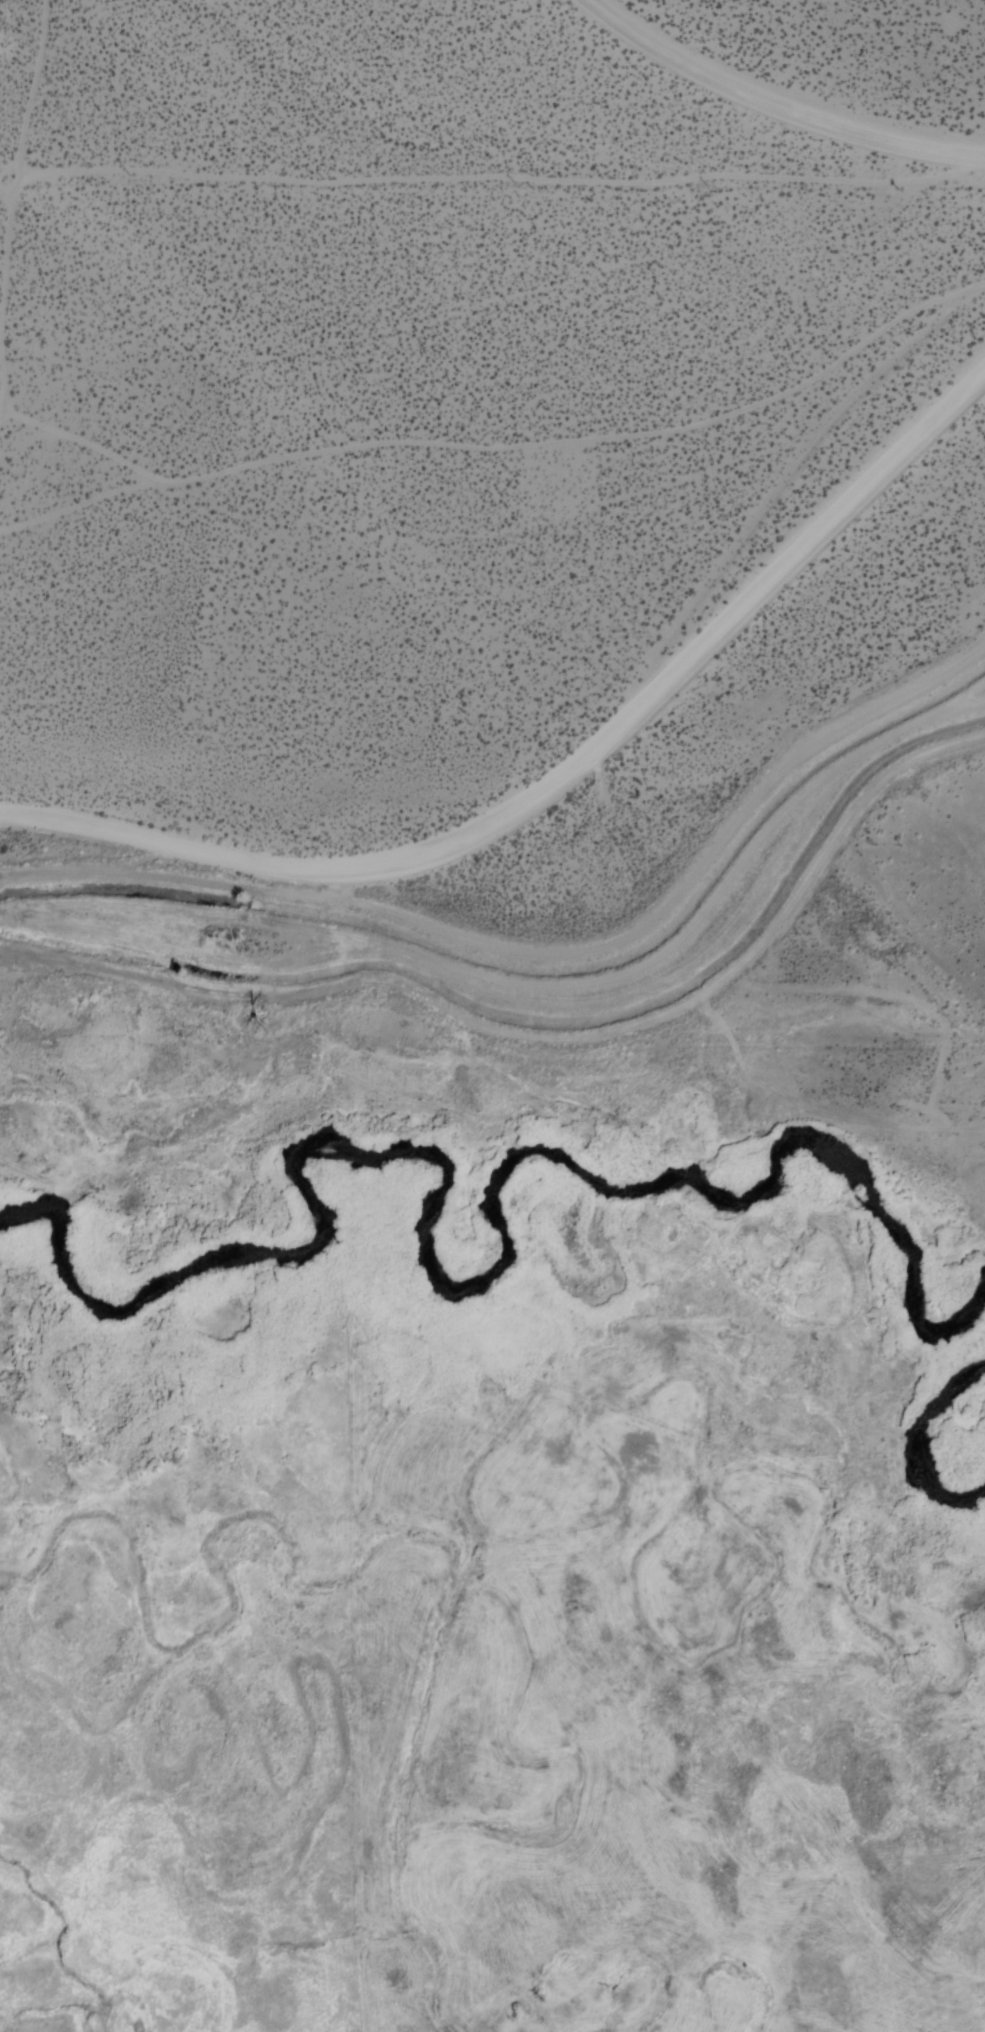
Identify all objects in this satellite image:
road: (779, 102)
road: (14, 147)
road: (500, 181)
road: (4, 195)
road: (83, 444)
road: (505, 446)
road: (561, 781)
road: (300, 881)
road: (543, 952)
road: (545, 1037)
river: (502, 1194)
river: (944, 1437)

